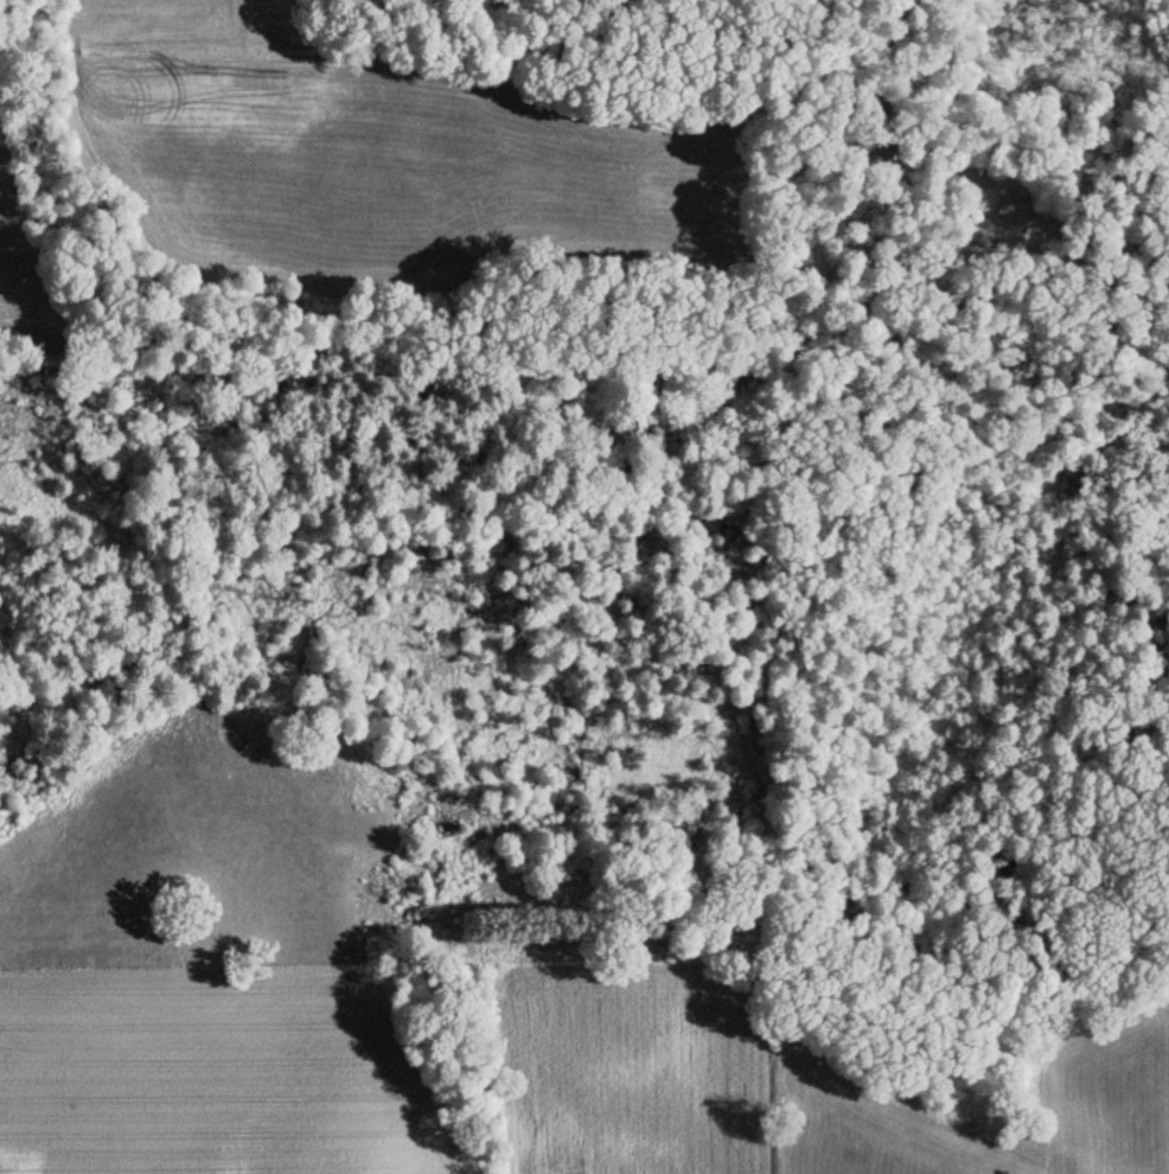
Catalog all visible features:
road: (882, 344)

